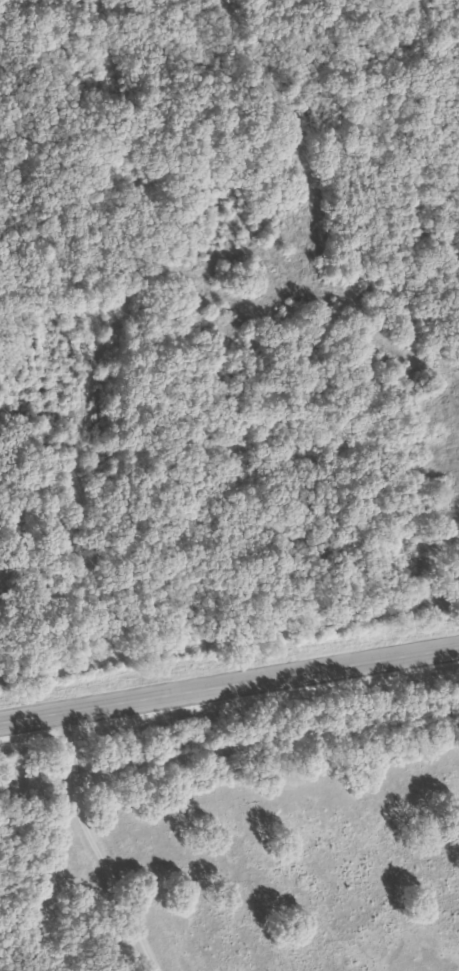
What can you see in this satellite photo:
road: (229, 693)
railway: (229, 745)
road: (105, 849)

